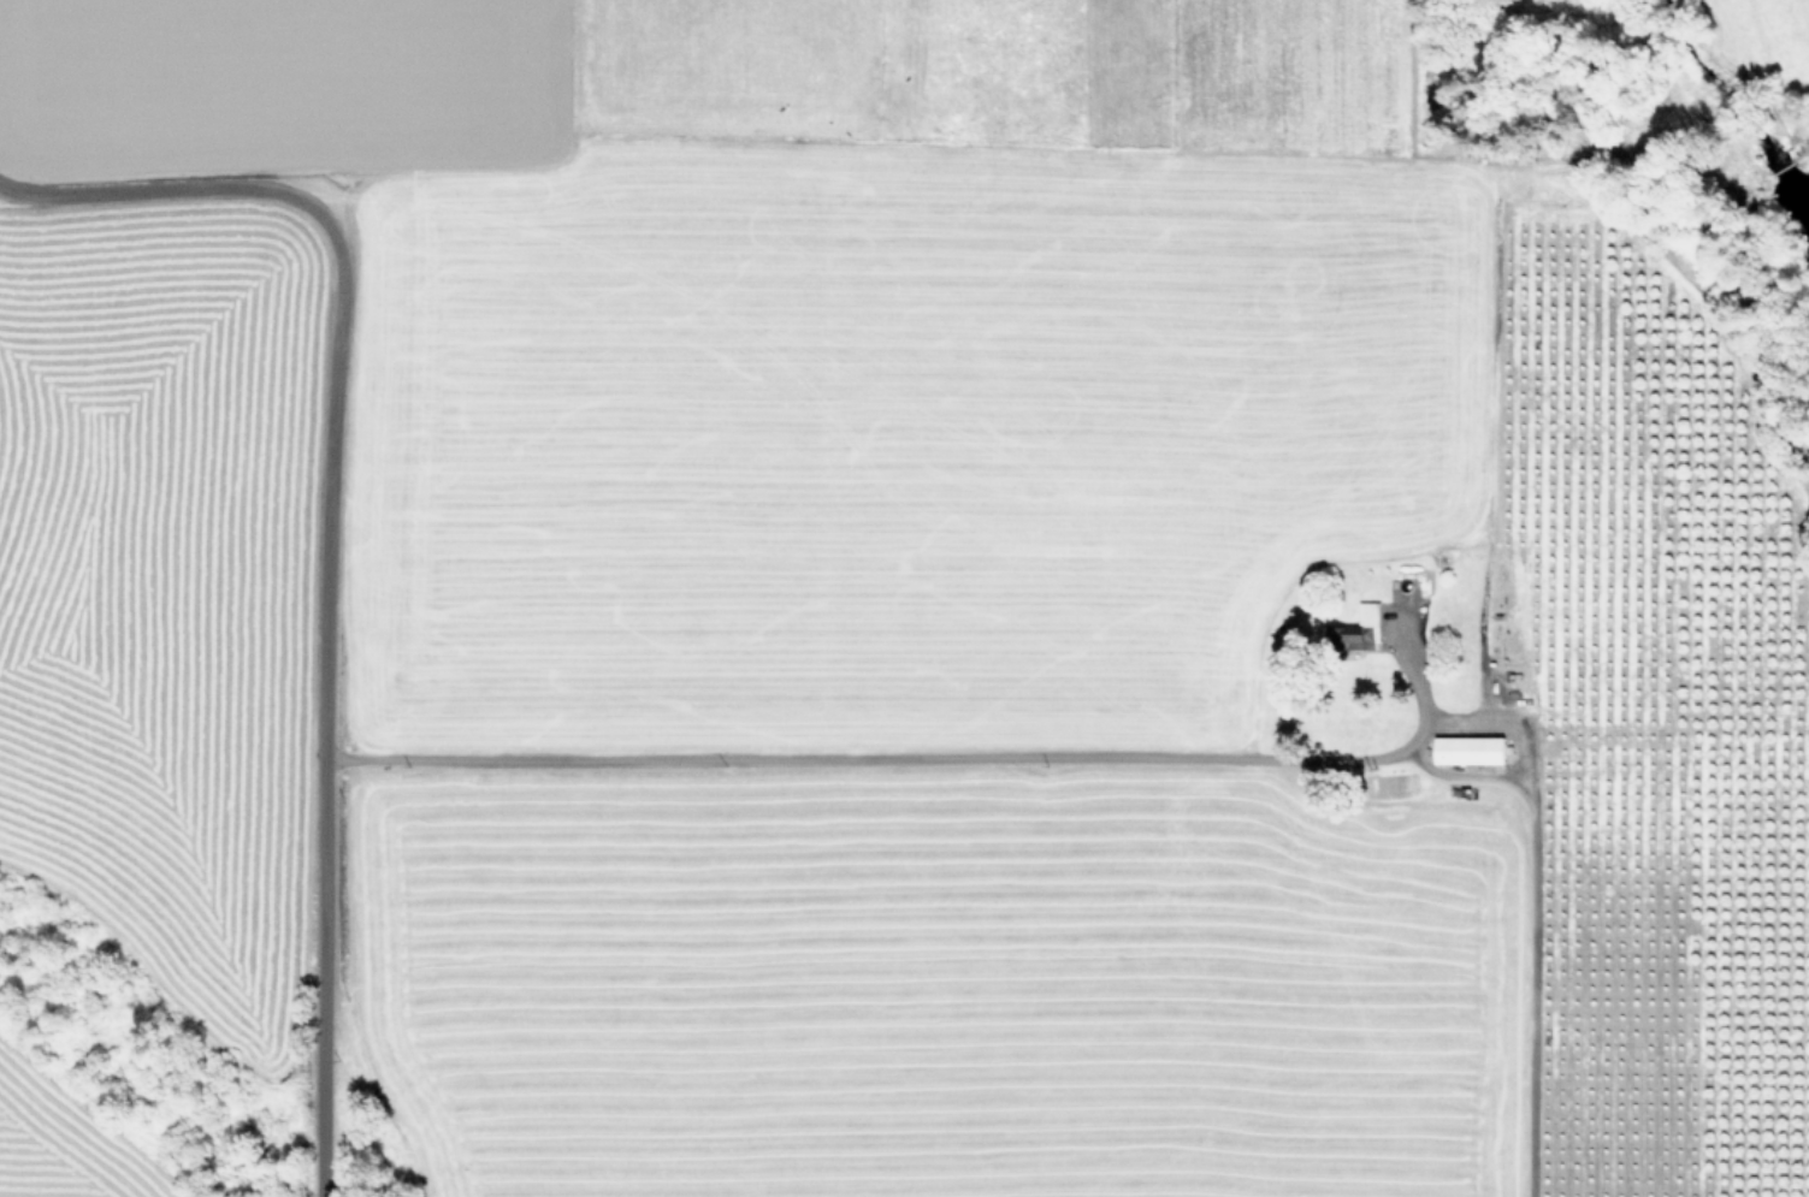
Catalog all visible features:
crop: (1789, 22)
road: (156, 189)
crop: (948, 598)
building: (1371, 616)
road: (321, 698)
crop: (149, 706)
building: (1472, 748)
road: (1013, 753)

